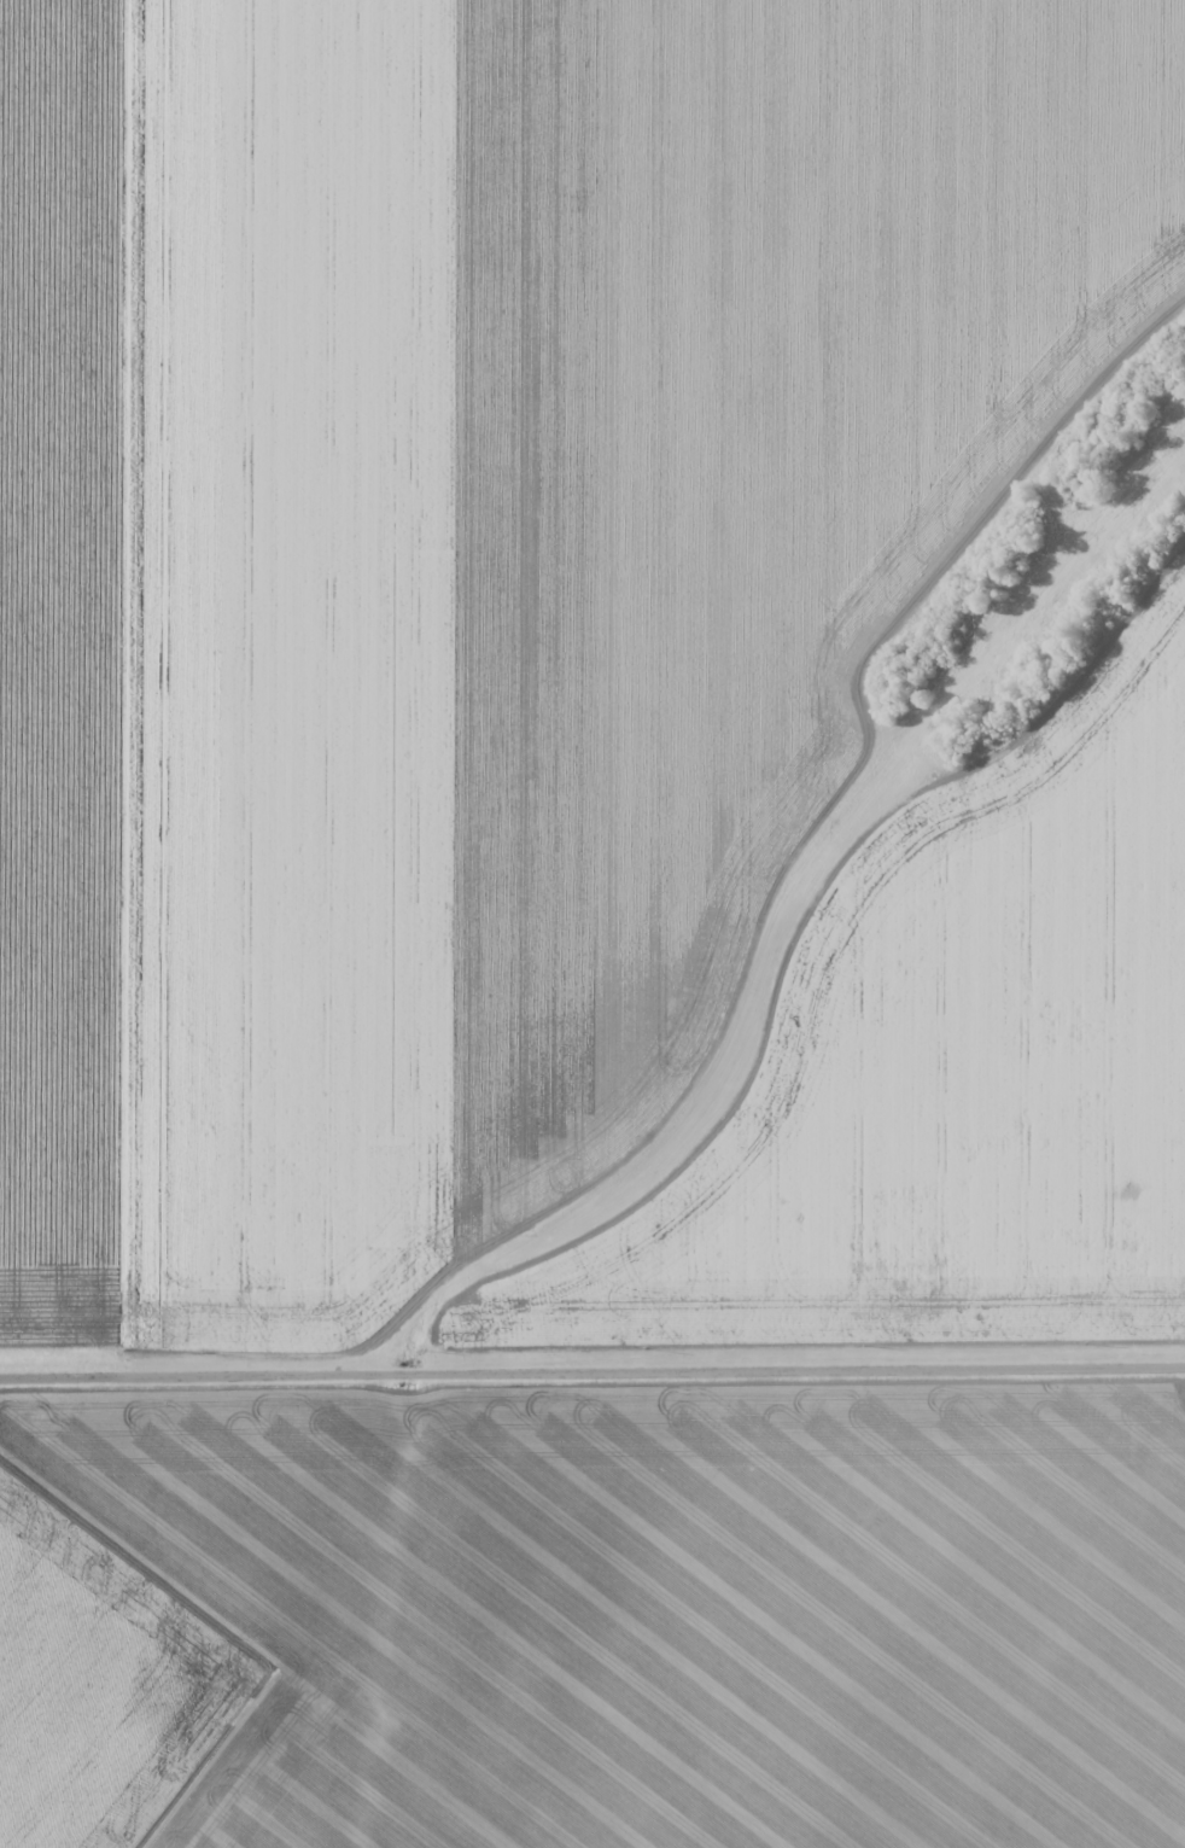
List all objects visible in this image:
road: (592, 1360)

